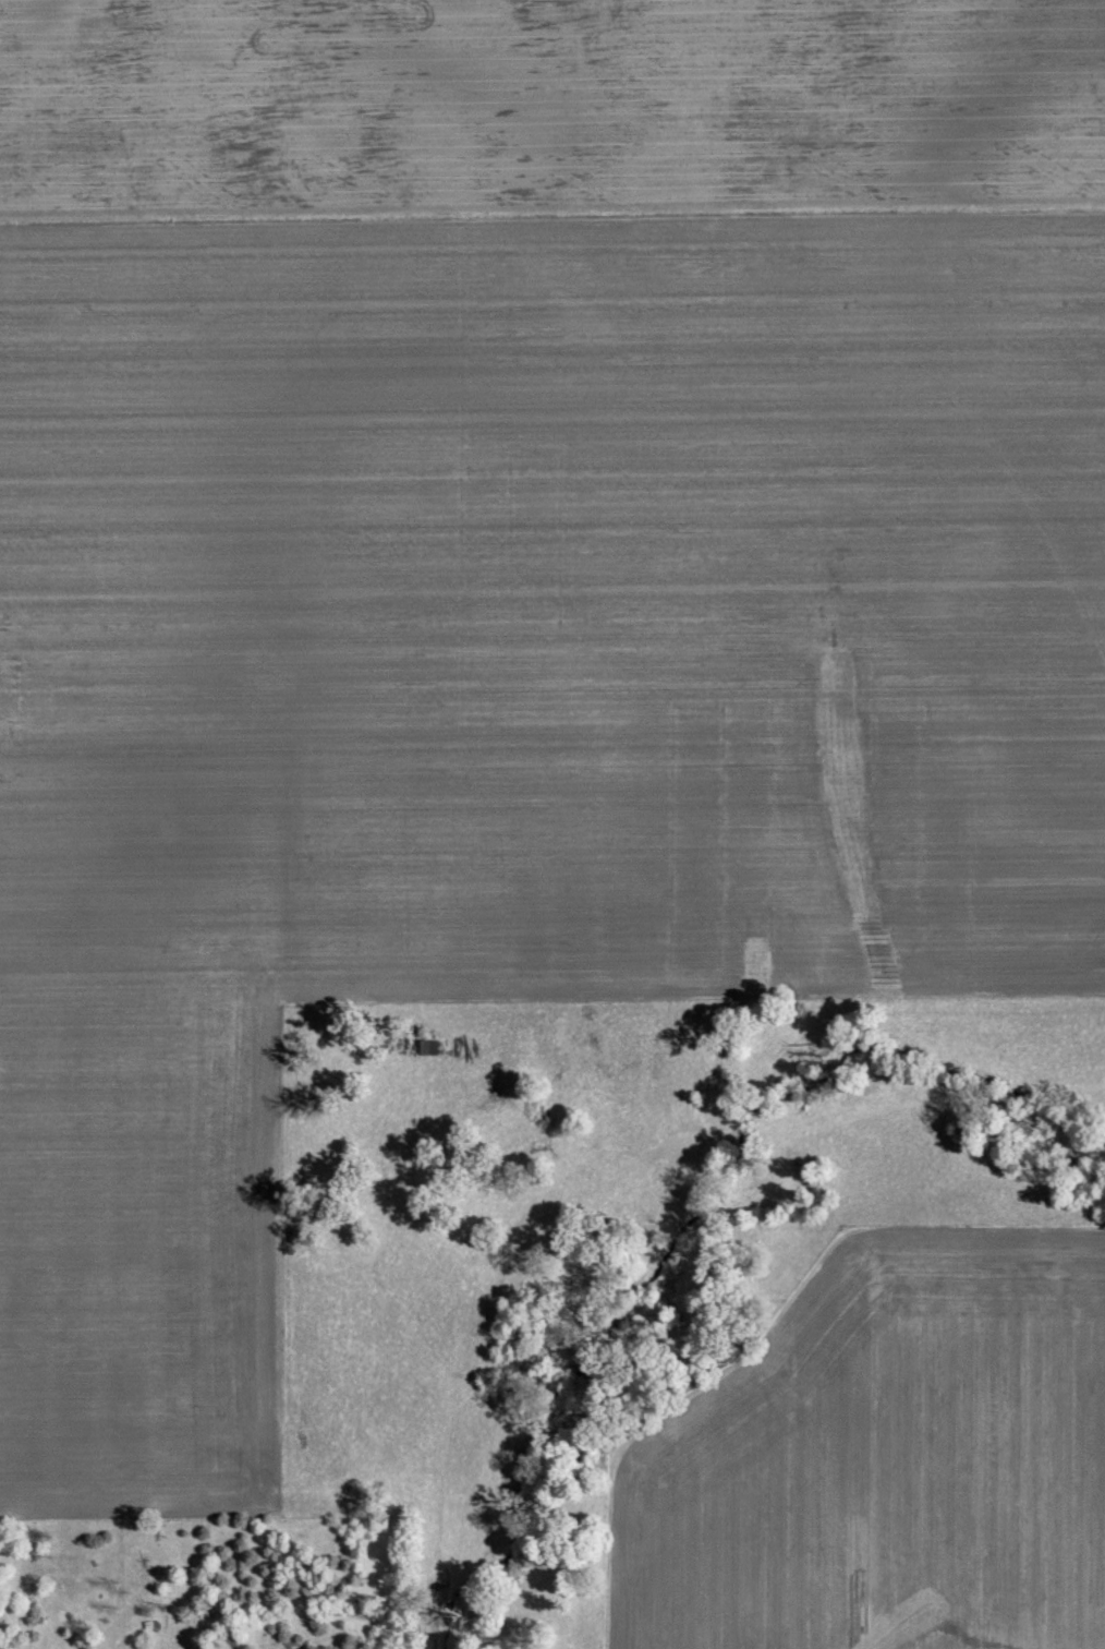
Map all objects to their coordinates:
crop: (503, 586)
crop: (886, 1456)

